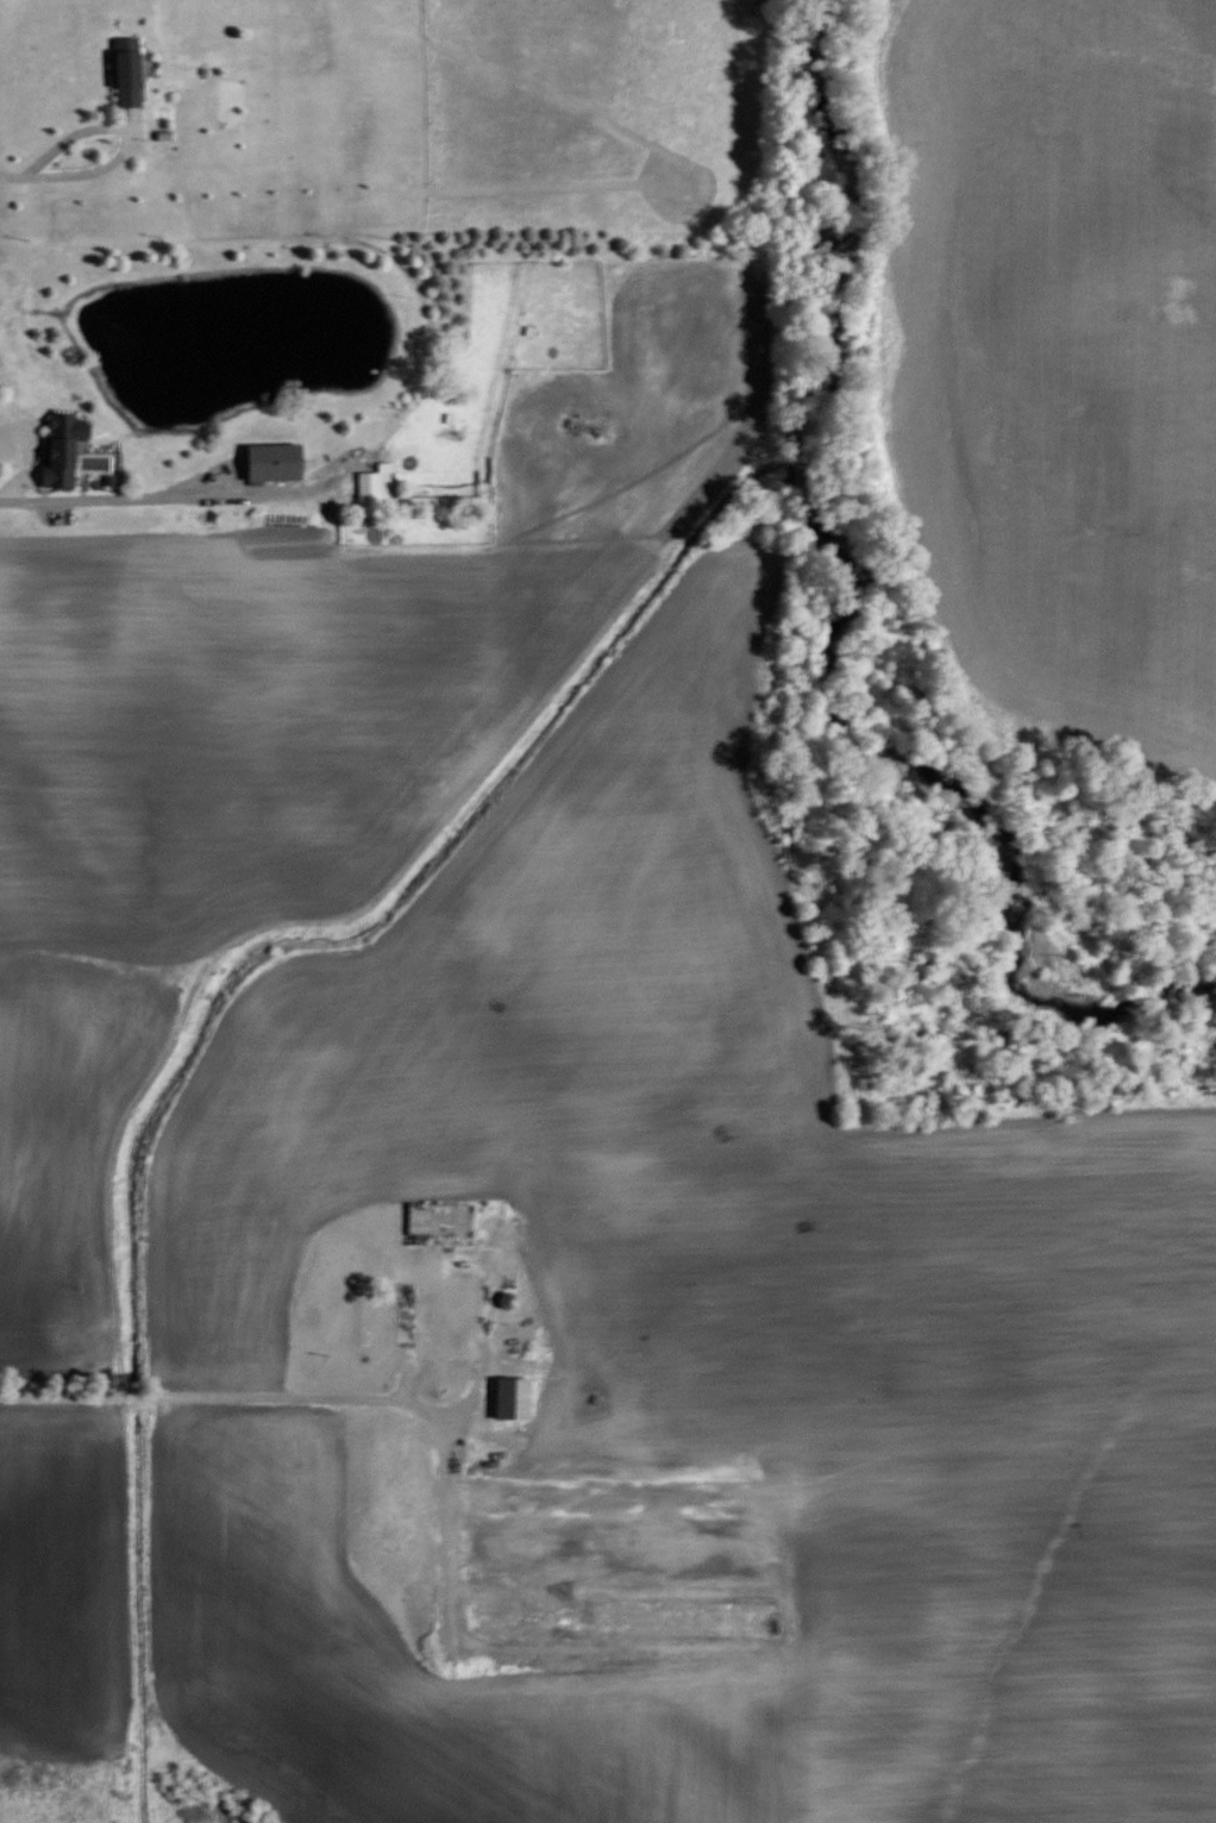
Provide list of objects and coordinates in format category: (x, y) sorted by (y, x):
building: (130, 71)
road: (130, 127)
road: (14, 171)
building: (276, 458)
building: (61, 459)
building: (375, 488)
road: (140, 490)
building: (458, 1223)
building: (509, 1299)
road: (311, 1395)
building: (627, 1496)
building: (626, 1616)

